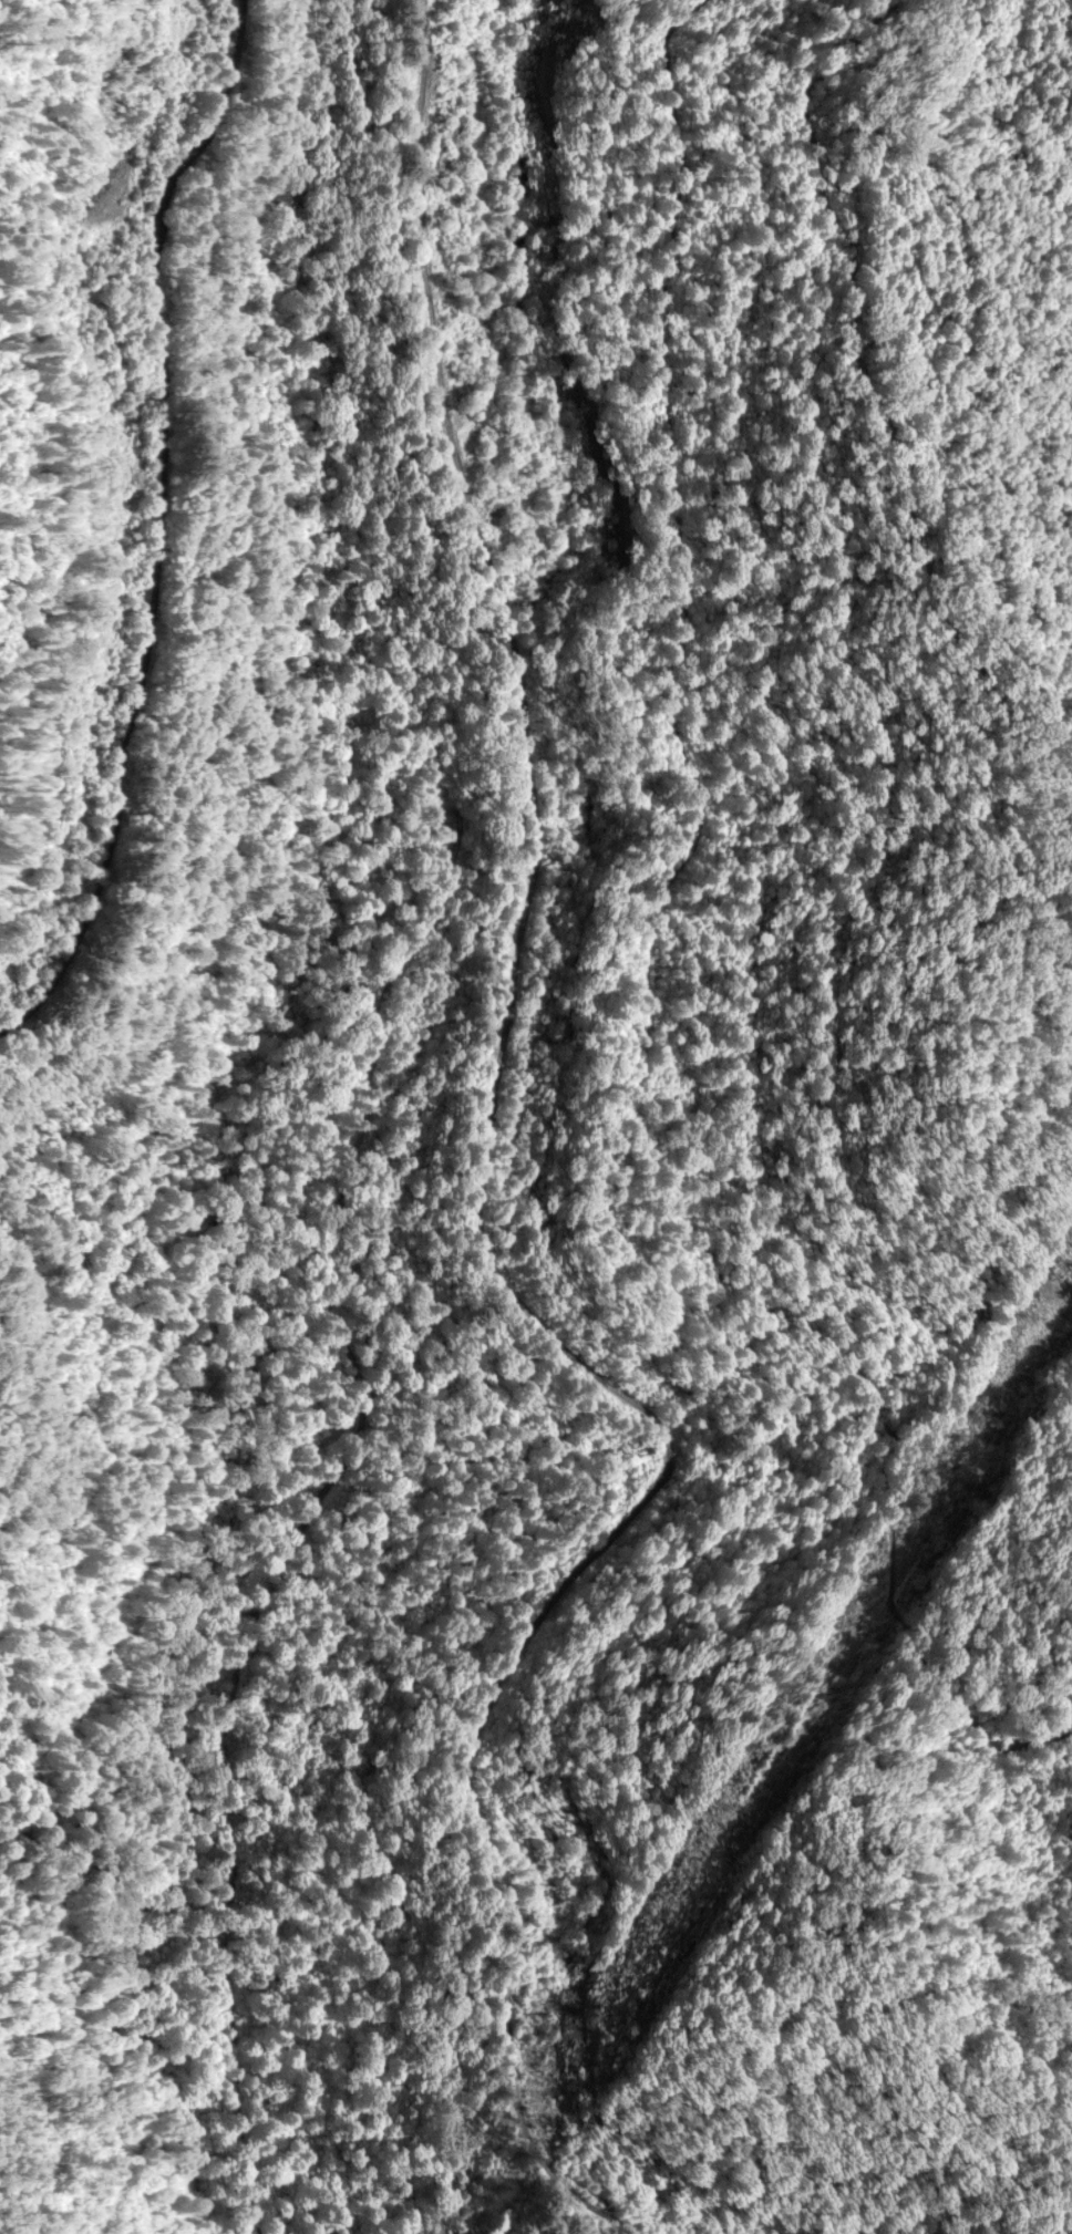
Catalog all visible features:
power tower: (774, 1757)

